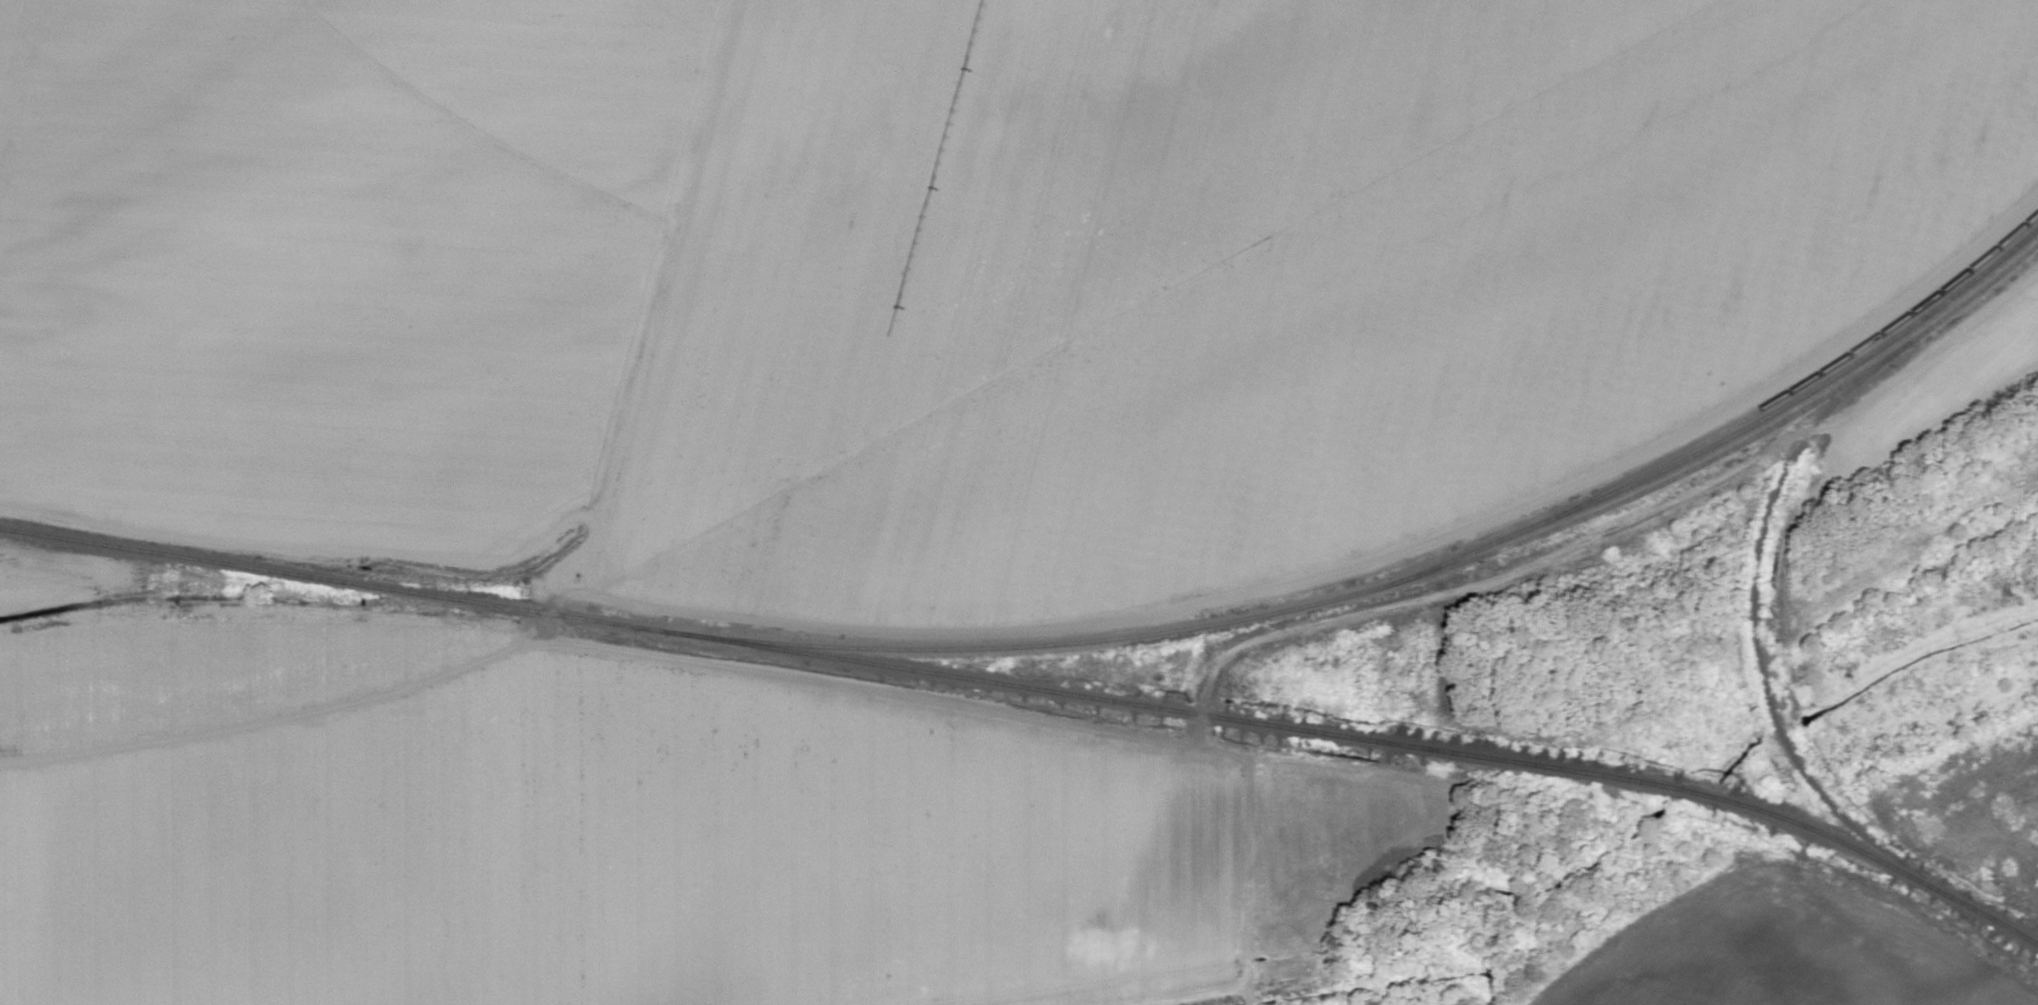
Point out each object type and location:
road: (395, 42)
railway: (1804, 379)
railway: (1731, 434)
road: (1349, 561)
railway: (1424, 572)
railway: (365, 584)
road: (570, 588)
road: (1283, 632)
railway: (1755, 647)
railway: (1399, 742)

